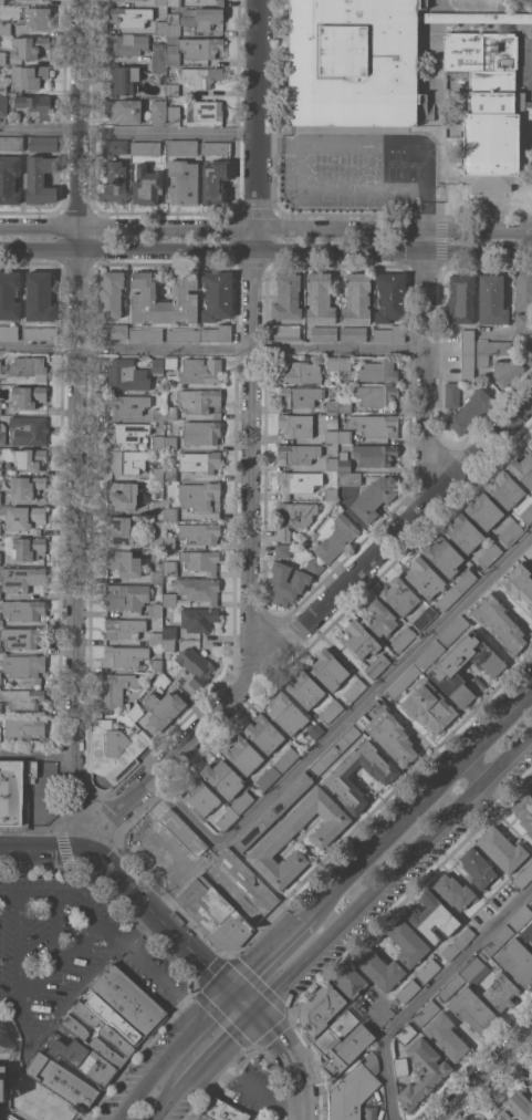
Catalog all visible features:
building: (8, 1)
building: (160, 2)
building: (175, 2)
building: (220, 2)
building: (129, 15)
building: (38, 17)
building: (474, 17)
building: (195, 19)
building: (160, 25)
building: (4, 28)
building: (126, 43)
building: (29, 45)
building: (192, 48)
building: (159, 54)
building: (2, 56)
building: (354, 62)
building: (159, 65)
building: (29, 75)
building: (199, 75)
building: (125, 79)
building: (2, 86)
building: (173, 89)
building: (3, 104)
building: (36, 105)
building: (489, 107)
building: (124, 110)
building: (205, 110)
building: (158, 111)
building: (174, 112)
road: (128, 133)
road: (383, 139)
building: (11, 142)
building: (43, 143)
building: (115, 146)
building: (181, 146)
building: (145, 147)
building: (216, 147)
building: (40, 178)
building: (525, 178)
building: (9, 179)
building: (215, 180)
building: (114, 182)
building: (184, 182)
building: (147, 185)
road: (265, 227)
road: (265, 255)
building: (112, 293)
building: (10, 294)
building: (217, 294)
building: (390, 295)
building: (39, 297)
building: (288, 297)
building: (184, 298)
building: (320, 298)
building: (460, 298)
building: (146, 299)
building: (357, 299)
building: (491, 299)
building: (523, 301)
building: (112, 330)
building: (285, 330)
building: (9, 332)
building: (41, 332)
building: (146, 333)
building: (182, 333)
building: (217, 333)
building: (323, 333)
building: (353, 333)
building: (390, 333)
road: (254, 339)
building: (494, 348)
road: (211, 349)
building: (452, 354)
building: (526, 355)
building: (482, 360)
building: (171, 361)
building: (333, 363)
building: (157, 364)
building: (345, 364)
building: (29, 366)
building: (201, 370)
building: (507, 370)
building: (378, 371)
road: (421, 371)
building: (300, 372)
building: (126, 374)
building: (376, 394)
building: (451, 394)
building: (29, 396)
building: (307, 398)
building: (200, 401)
building: (127, 404)
building: (345, 405)
building: (0, 406)
building: (470, 409)
building: (170, 412)
building: (158, 414)
building: (168, 423)
building: (295, 424)
building: (376, 424)
road: (80, 425)
building: (29, 429)
building: (126, 431)
building: (201, 432)
building: (2, 434)
building: (332, 435)
building: (345, 436)
building: (157, 440)
building: (170, 442)
building: (531, 444)
building: (298, 453)
building: (375, 454)
building: (30, 458)
building: (126, 460)
building: (200, 460)
building: (344, 462)
building: (331, 463)
building: (1, 467)
building: (522, 468)
building: (157, 473)
building: (170, 474)
building: (348, 478)
building: (298, 481)
building: (27, 486)
building: (504, 488)
building: (123, 494)
building: (331, 494)
building: (201, 496)
building: (375, 496)
building: (0, 497)
building: (156, 507)
building: (484, 510)
building: (170, 514)
building: (526, 514)
building: (25, 516)
building: (293, 517)
building: (0, 527)
building: (118, 529)
building: (36, 530)
building: (200, 532)
building: (463, 532)
building: (511, 532)
building: (156, 533)
building: (336, 538)
building: (169, 541)
building: (29, 548)
building: (282, 550)
building: (489, 554)
building: (528, 554)
building: (444, 556)
building: (0, 558)
building: (200, 560)
building: (124, 562)
building: (315, 566)
building: (170, 568)
building: (156, 575)
building: (425, 577)
building: (21, 578)
building: (465, 580)
building: (519, 582)
building: (288, 583)
building: (200, 589)
building: (0, 595)
building: (126, 595)
building: (399, 595)
building: (448, 598)
building: (169, 599)
building: (23, 609)
building: (155, 611)
building: (382, 618)
building: (425, 618)
building: (198, 619)
building: (1, 622)
building: (500, 622)
road: (305, 628)
building: (134, 629)
building: (453, 630)
building: (170, 632)
building: (22, 636)
building: (361, 639)
building: (404, 639)
building: (169, 644)
building: (0, 649)
building: (124, 655)
building: (429, 655)
building: (155, 664)
building: (24, 665)
building: (195, 665)
building: (377, 665)
building: (328, 668)
building: (446, 668)
building: (1, 680)
building: (161, 681)
building: (403, 681)
building: (479, 681)
building: (115, 688)
building: (304, 688)
building: (354, 688)
road: (383, 695)
building: (23, 697)
building: (429, 706)
building: (0, 707)
building: (163, 709)
building: (331, 711)
building: (136, 712)
building: (288, 713)
road: (341, 724)
building: (25, 727)
building: (315, 730)
building: (387, 730)
building: (263, 733)
building: (113, 748)
building: (334, 750)
building: (242, 754)
road: (36, 755)
building: (285, 757)
road: (479, 765)
building: (268, 777)
building: (338, 777)
building: (222, 778)
building: (531, 787)
road: (158, 788)
building: (12, 789)
road: (125, 789)
building: (201, 797)
road: (423, 798)
building: (242, 801)
building: (273, 810)
building: (524, 811)
road: (63, 817)
building: (227, 818)
road: (502, 820)
building: (177, 829)
building: (271, 843)
building: (502, 848)
road: (341, 855)
building: (478, 867)
road: (390, 871)
building: (523, 875)
building: (247, 880)
road: (128, 886)
building: (453, 890)
road: (69, 894)
building: (531, 900)
road: (166, 903)
road: (393, 903)
building: (213, 915)
building: (432, 916)
building: (521, 917)
road: (53, 924)
building: (526, 931)
building: (498, 938)
building: (407, 942)
building: (458, 942)
road: (270, 946)
road: (122, 951)
road: (174, 956)
road: (55, 961)
building: (517, 961)
building: (380, 969)
building: (428, 969)
building: (474, 971)
building: (351, 984)
building: (451, 986)
traffic signals: (227, 988)
building: (407, 989)
road: (429, 992)
building: (501, 992)
building: (126, 999)
road: (240, 1000)
road: (210, 1007)
road: (180, 1008)
building: (472, 1009)
building: (320, 1010)
building: (426, 1012)
traffic signals: (253, 1014)
building: (113, 1019)
road: (3, 1024)
road: (11, 1029)
building: (103, 1030)
building: (406, 1033)
building: (62, 1034)
building: (446, 1036)
road: (228, 1037)
building: (312, 1038)
building: (93, 1043)
building: (342, 1044)
road: (189, 1047)
road: (247, 1050)
road: (306, 1055)
road: (291, 1060)
building: (83, 1061)
building: (400, 1066)
road: (479, 1067)
road: (153, 1071)
road: (190, 1076)
building: (434, 1076)
road: (484, 1076)
building: (61, 1081)
road: (250, 1089)
building: (354, 1089)
parking lot: (38, 1101)
road: (41, 1105)
road: (166, 1105)
building: (521, 1105)
building: (223, 1112)
building: (199, 1117)
building: (10, 1118)
building: (489, 1119)
building: (505, 1119)

